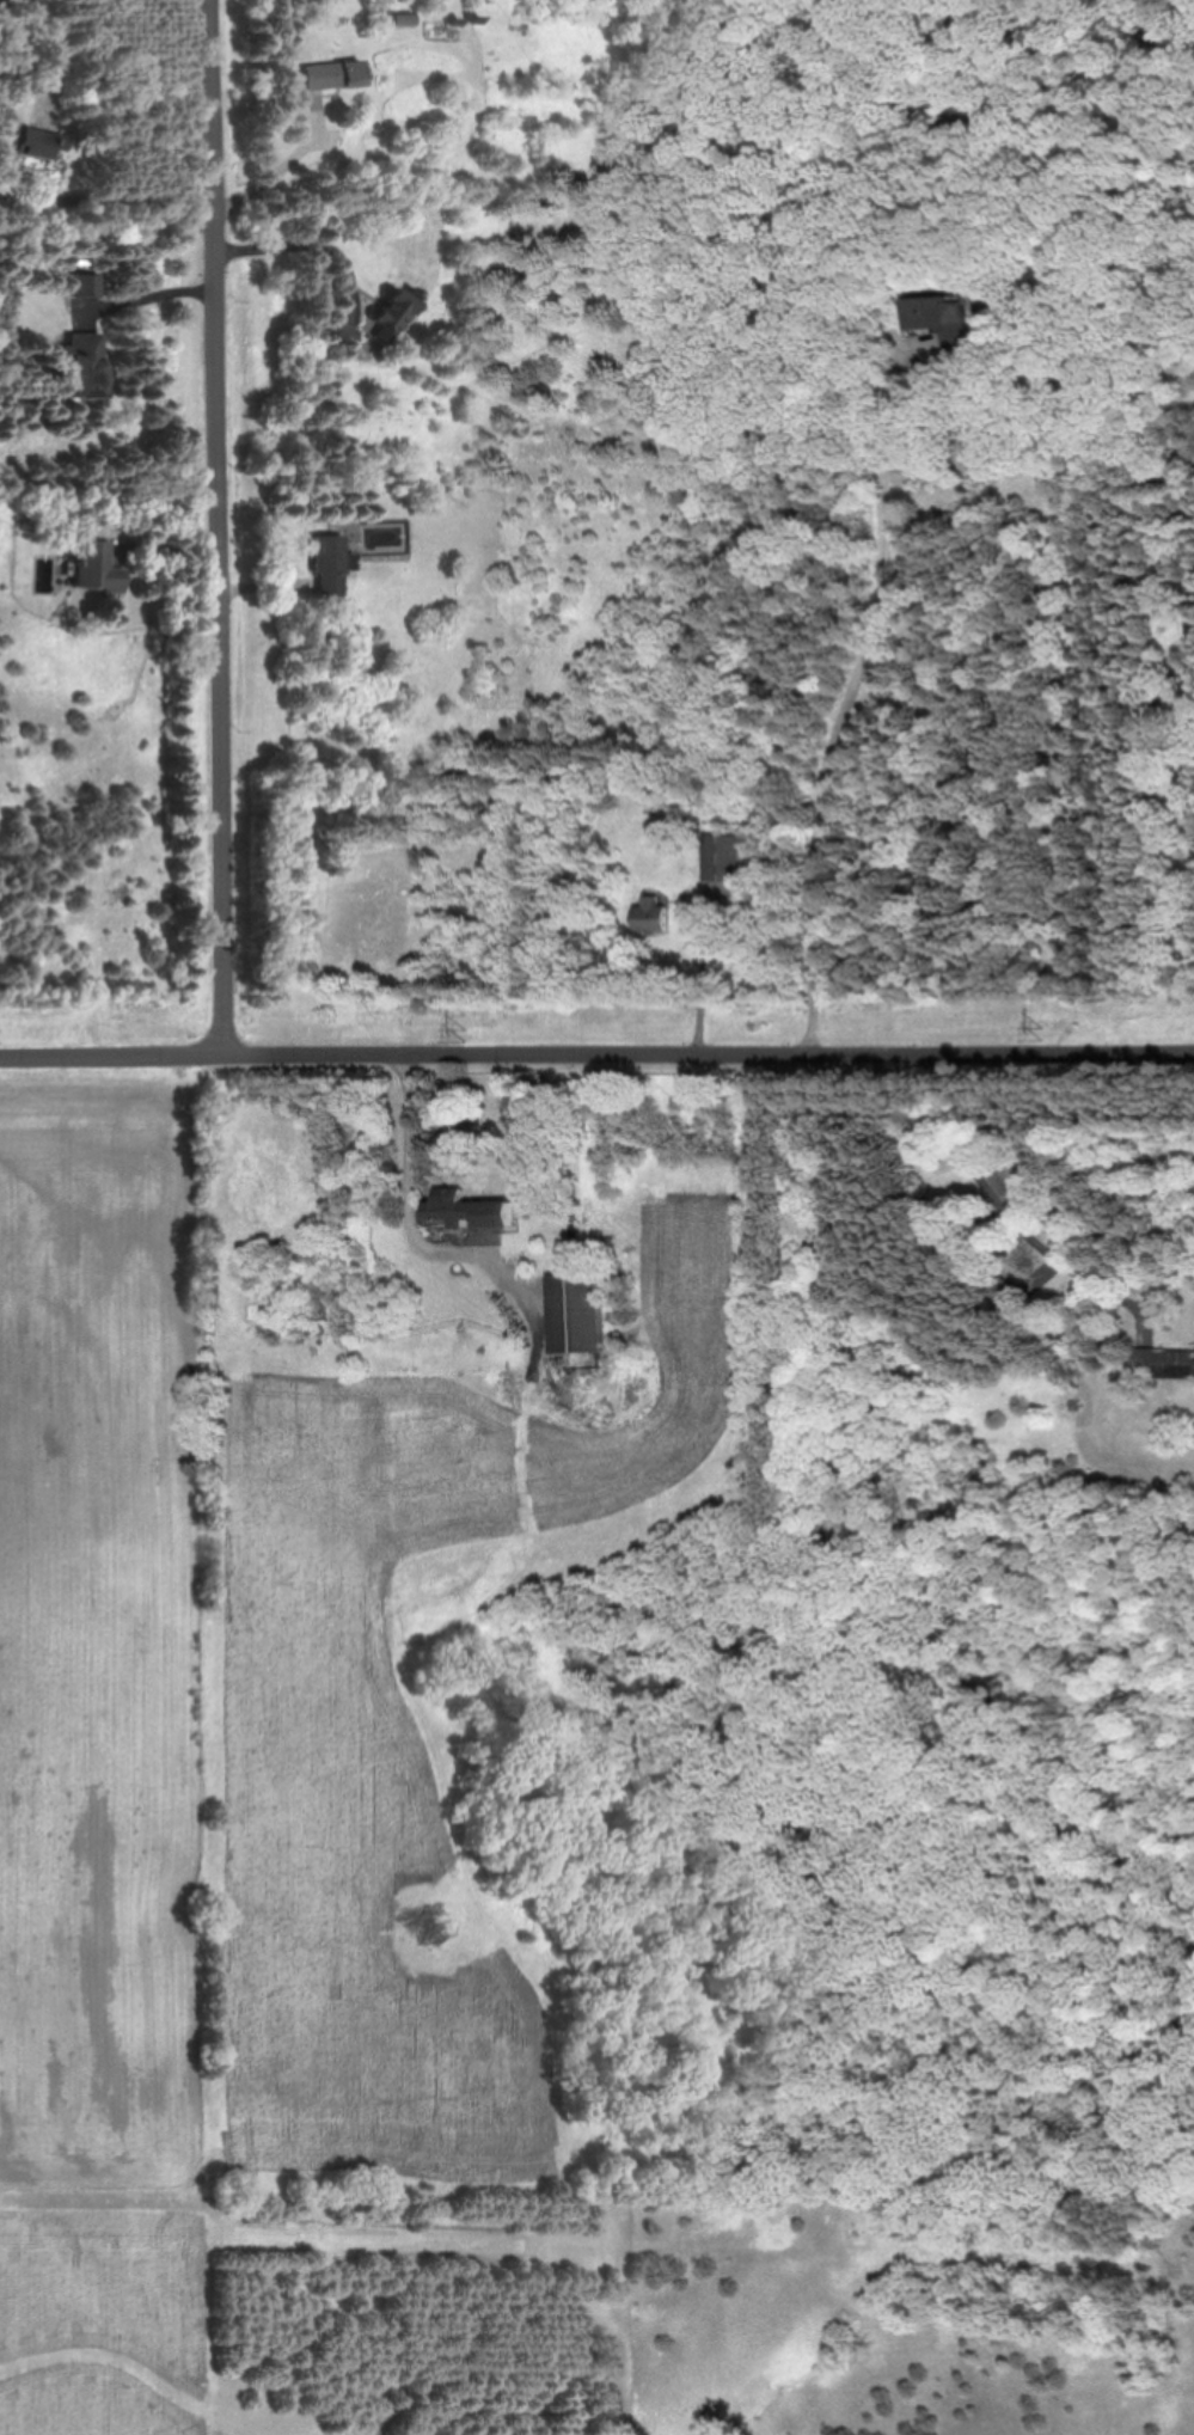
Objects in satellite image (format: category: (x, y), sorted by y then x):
building: (331, 74)
building: (24, 141)
road: (283, 161)
road: (117, 202)
road: (311, 246)
building: (86, 286)
building: (390, 312)
building: (942, 313)
building: (339, 332)
building: (85, 365)
road: (221, 525)
building: (326, 564)
building: (93, 568)
road: (857, 692)
building: (727, 858)
building: (653, 916)
road: (702, 984)
power tower: (1046, 1030)
power tower: (469, 1033)
road: (596, 1052)
road: (411, 1181)
building: (467, 1210)
road: (1014, 1215)
building: (576, 1314)
building: (1165, 1360)

